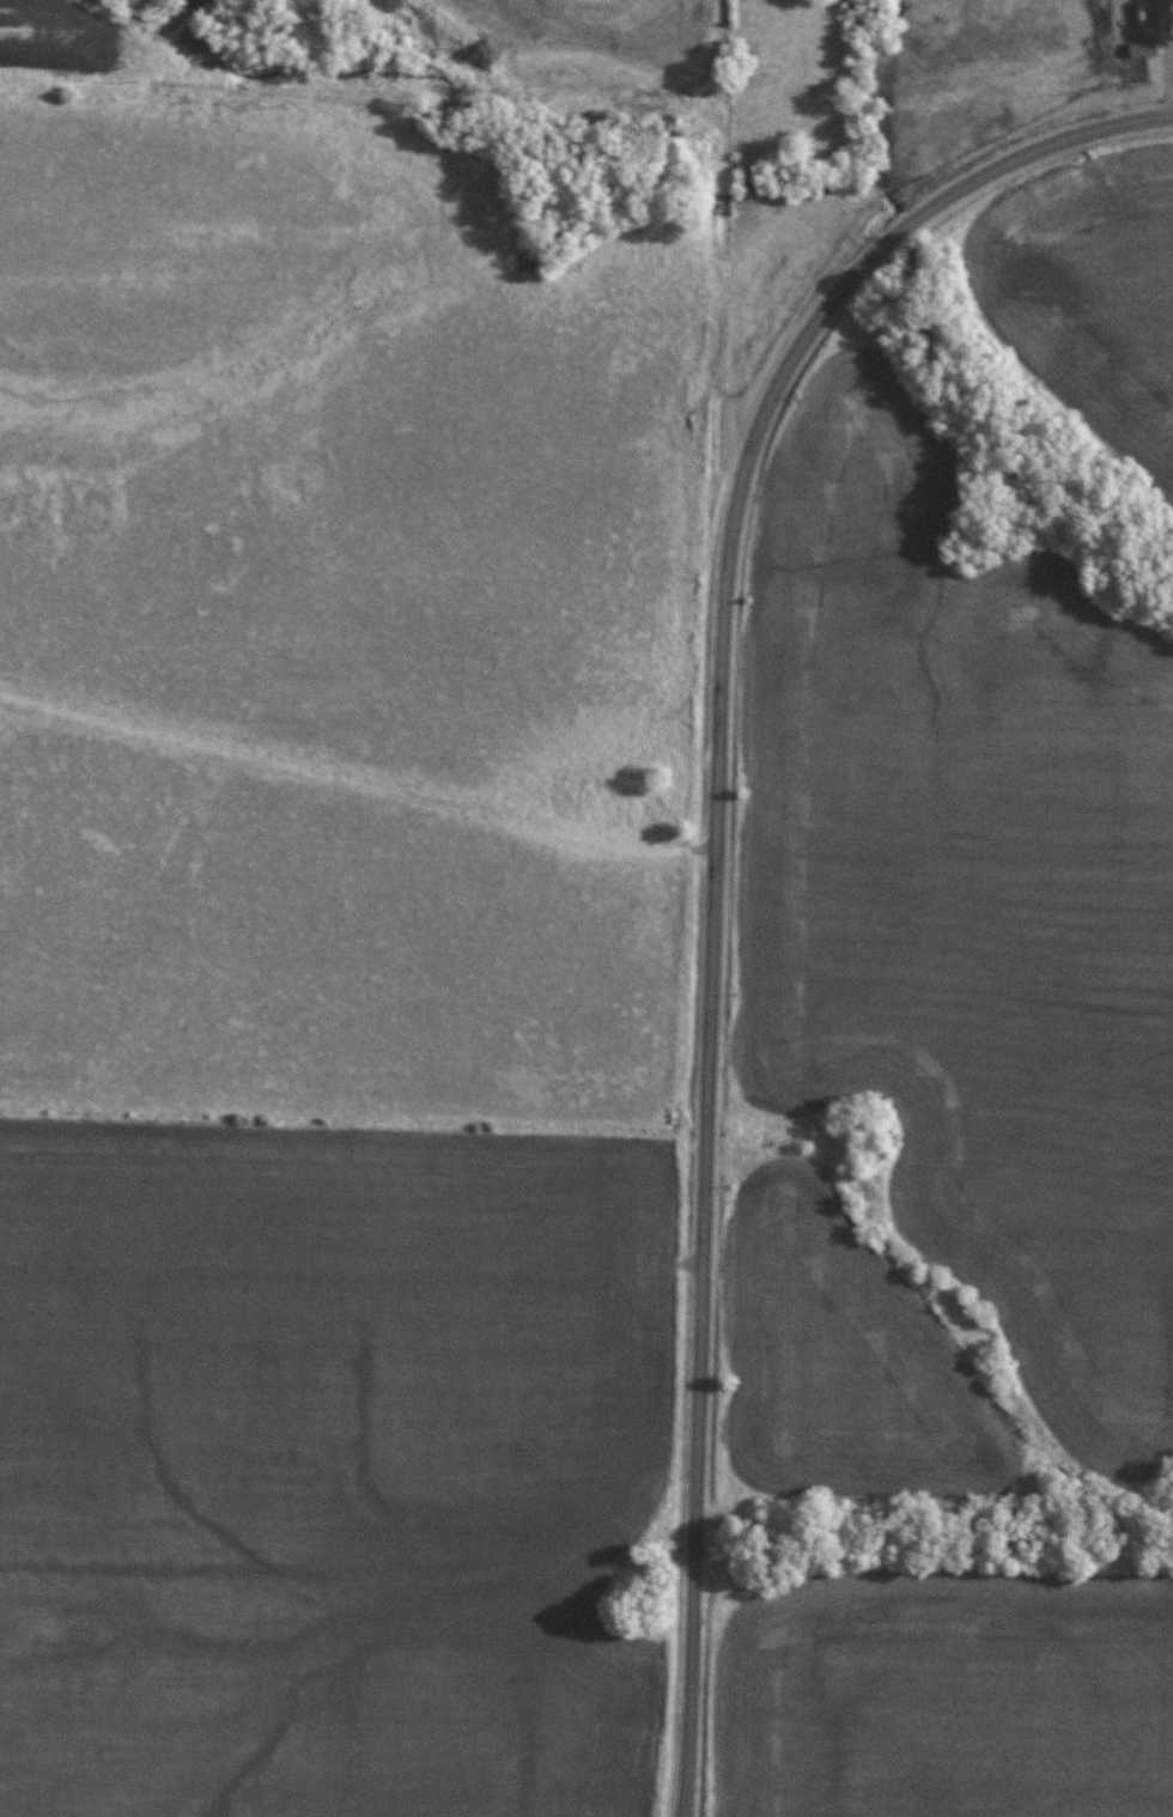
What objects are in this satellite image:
building: (1141, 47)
road: (1168, 50)
building: (932, 104)
road: (984, 169)
road: (709, 1043)

